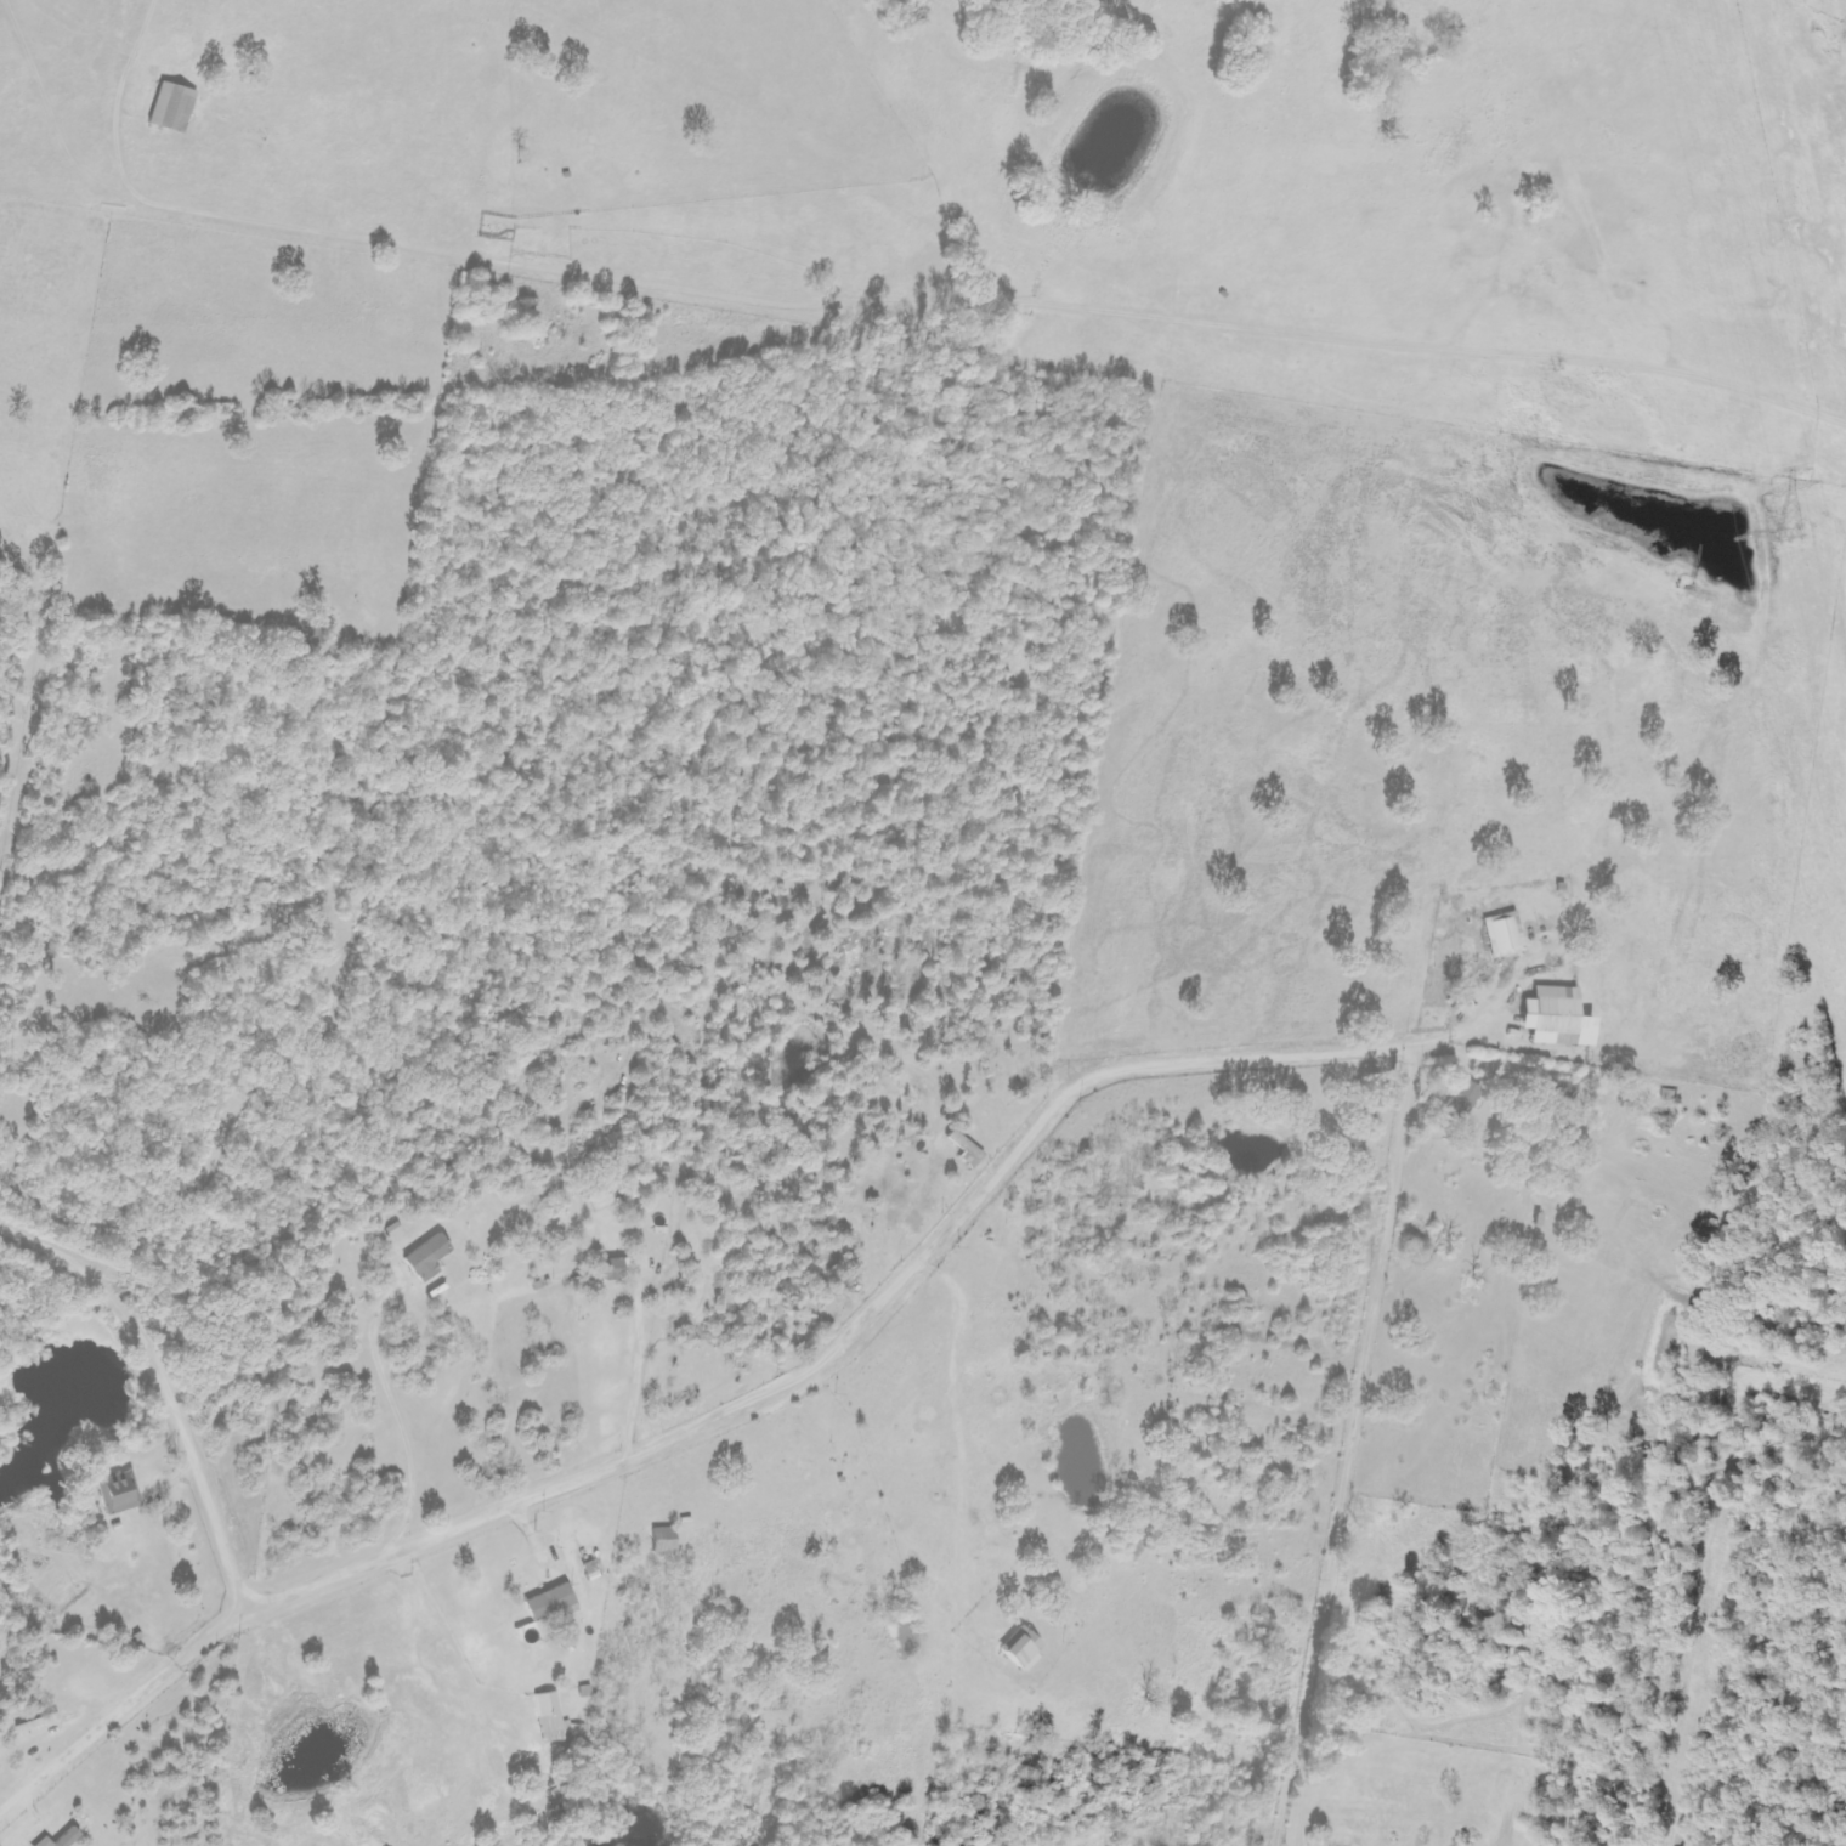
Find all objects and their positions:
railway: (1836, 43)
building: (172, 107)
power tower: (1785, 537)
building: (1557, 1018)
building: (1462, 1100)
building: (426, 1259)
building: (612, 1269)
road: (679, 1436)
building: (119, 1494)
road: (179, 1563)
building: (589, 1570)
building: (550, 1609)
road: (522, 1630)
building: (551, 1715)
building: (61, 1839)

